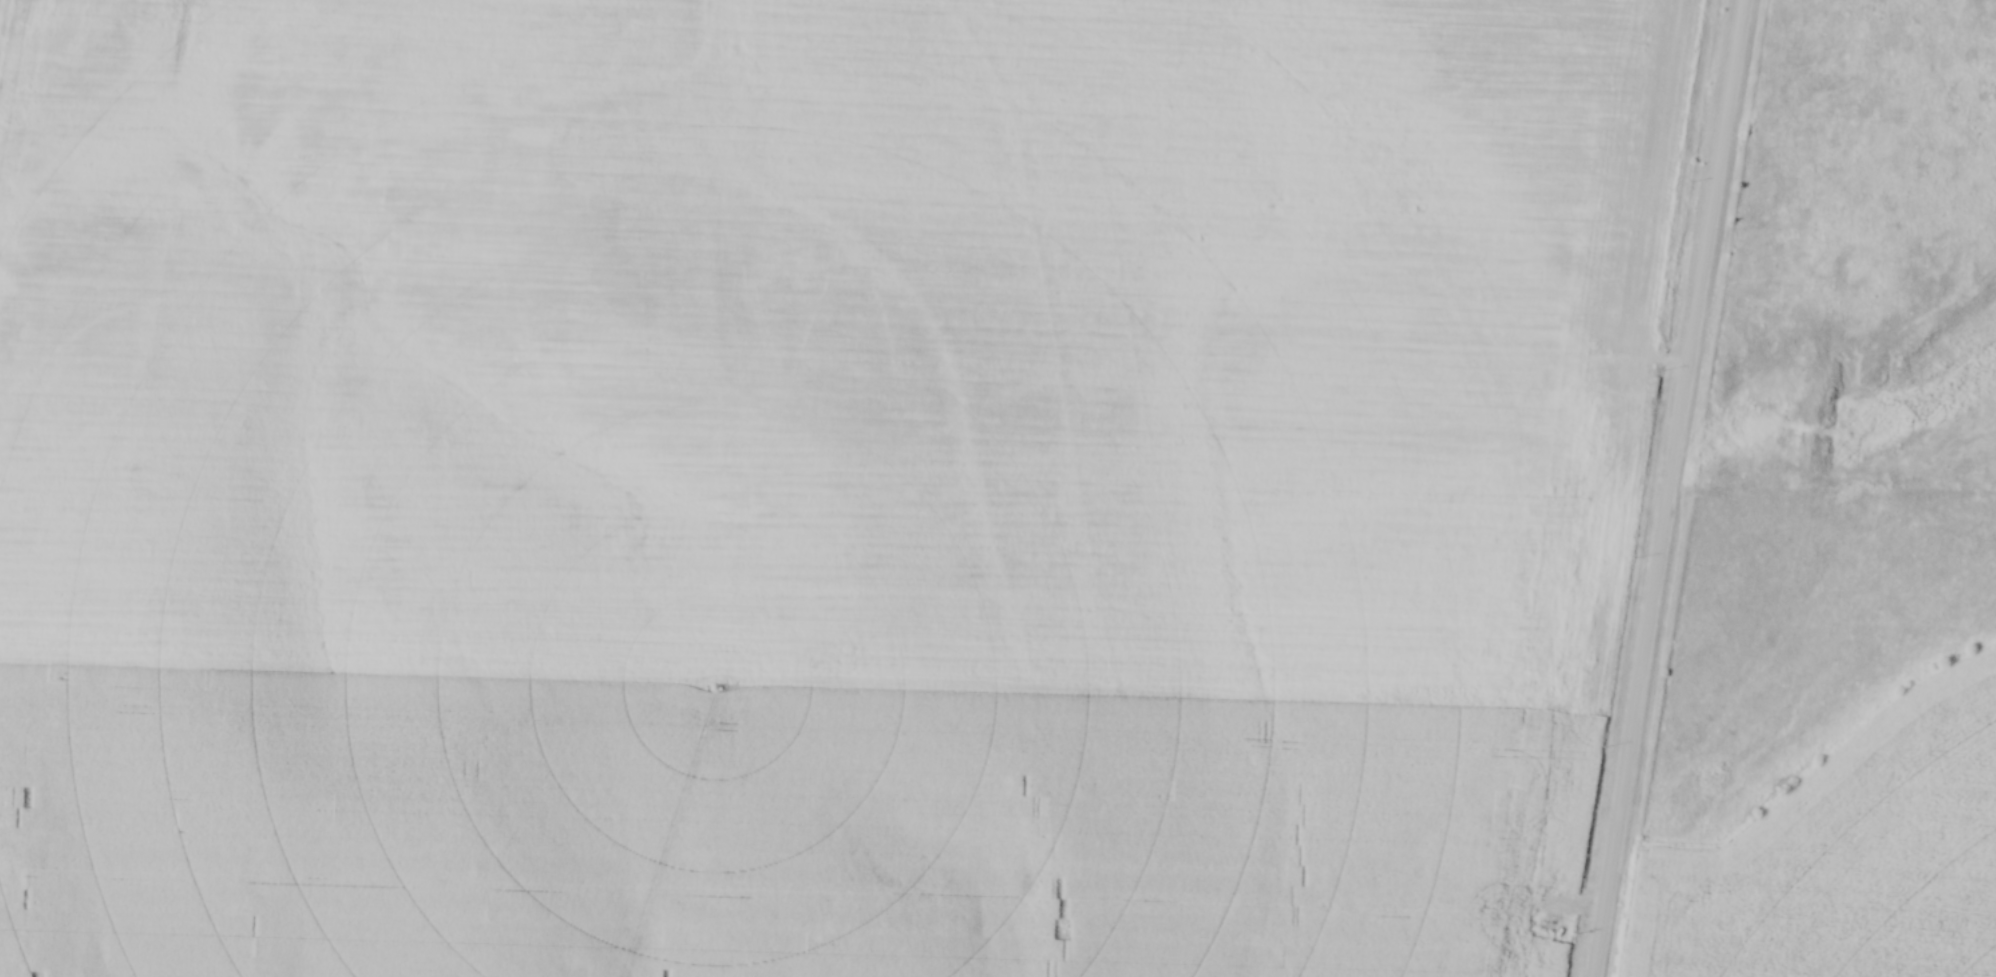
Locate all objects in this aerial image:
road: (1672, 488)

